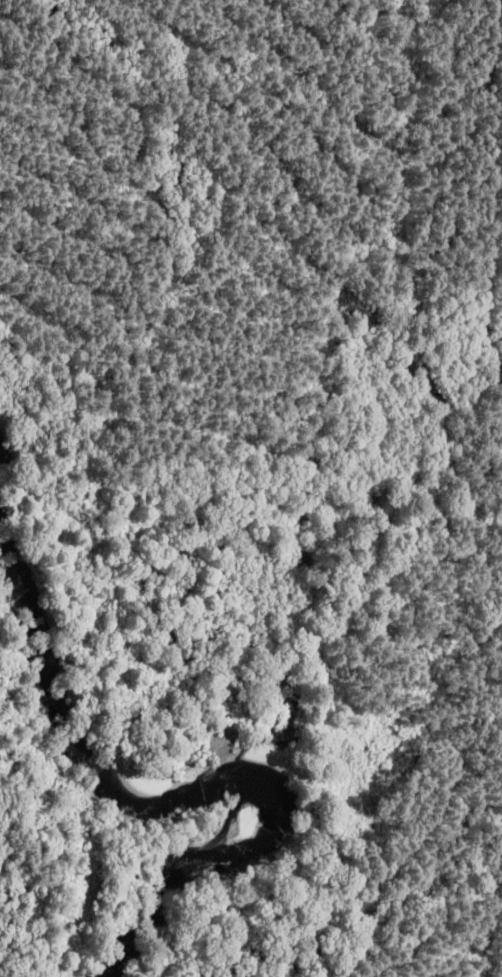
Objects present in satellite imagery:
river: (202, 787)

